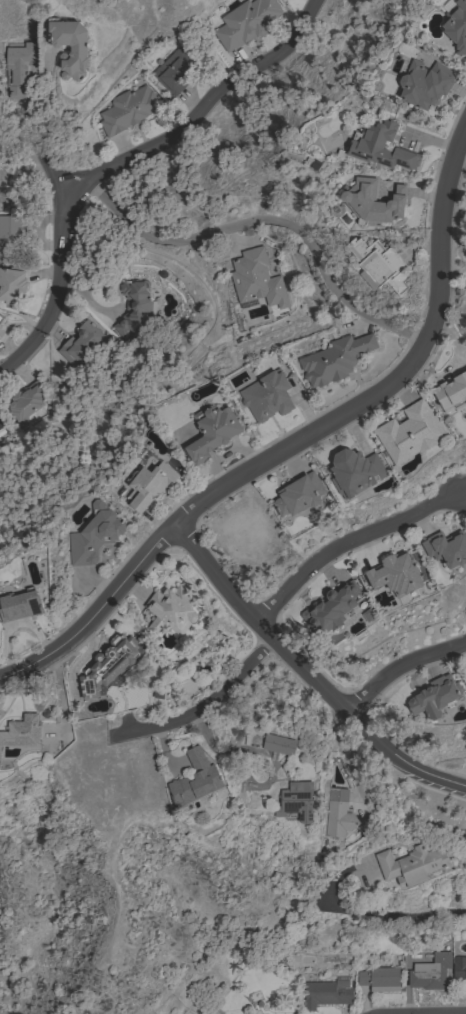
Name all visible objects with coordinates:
building: (245, 22)
building: (456, 25)
building: (69, 47)
building: (19, 69)
building: (175, 71)
building: (423, 84)
building: (127, 109)
building: (379, 147)
road: (46, 162)
road: (129, 163)
building: (9, 193)
building: (372, 202)
road: (269, 224)
building: (10, 238)
building: (380, 264)
building: (256, 279)
building: (13, 285)
building: (133, 307)
building: (1, 319)
building: (80, 344)
building: (334, 359)
building: (451, 390)
building: (267, 396)
building: (25, 401)
building: (0, 426)
building: (0, 431)
building: (211, 432)
building: (409, 433)
road: (294, 443)
building: (354, 472)
building: (148, 485)
building: (298, 494)
building: (94, 535)
road: (348, 543)
building: (447, 548)
building: (394, 575)
building: (20, 606)
building: (332, 608)
building: (170, 610)
building: (107, 665)
road: (401, 669)
road: (310, 673)
building: (465, 674)
building: (434, 696)
road: (208, 705)
building: (21, 732)
building: (278, 745)
road: (257, 756)
building: (194, 780)
building: (295, 801)
building: (338, 814)
building: (411, 865)
road: (390, 911)
building: (459, 967)
building: (431, 972)
building: (379, 979)
building: (326, 993)
road: (456, 1013)

